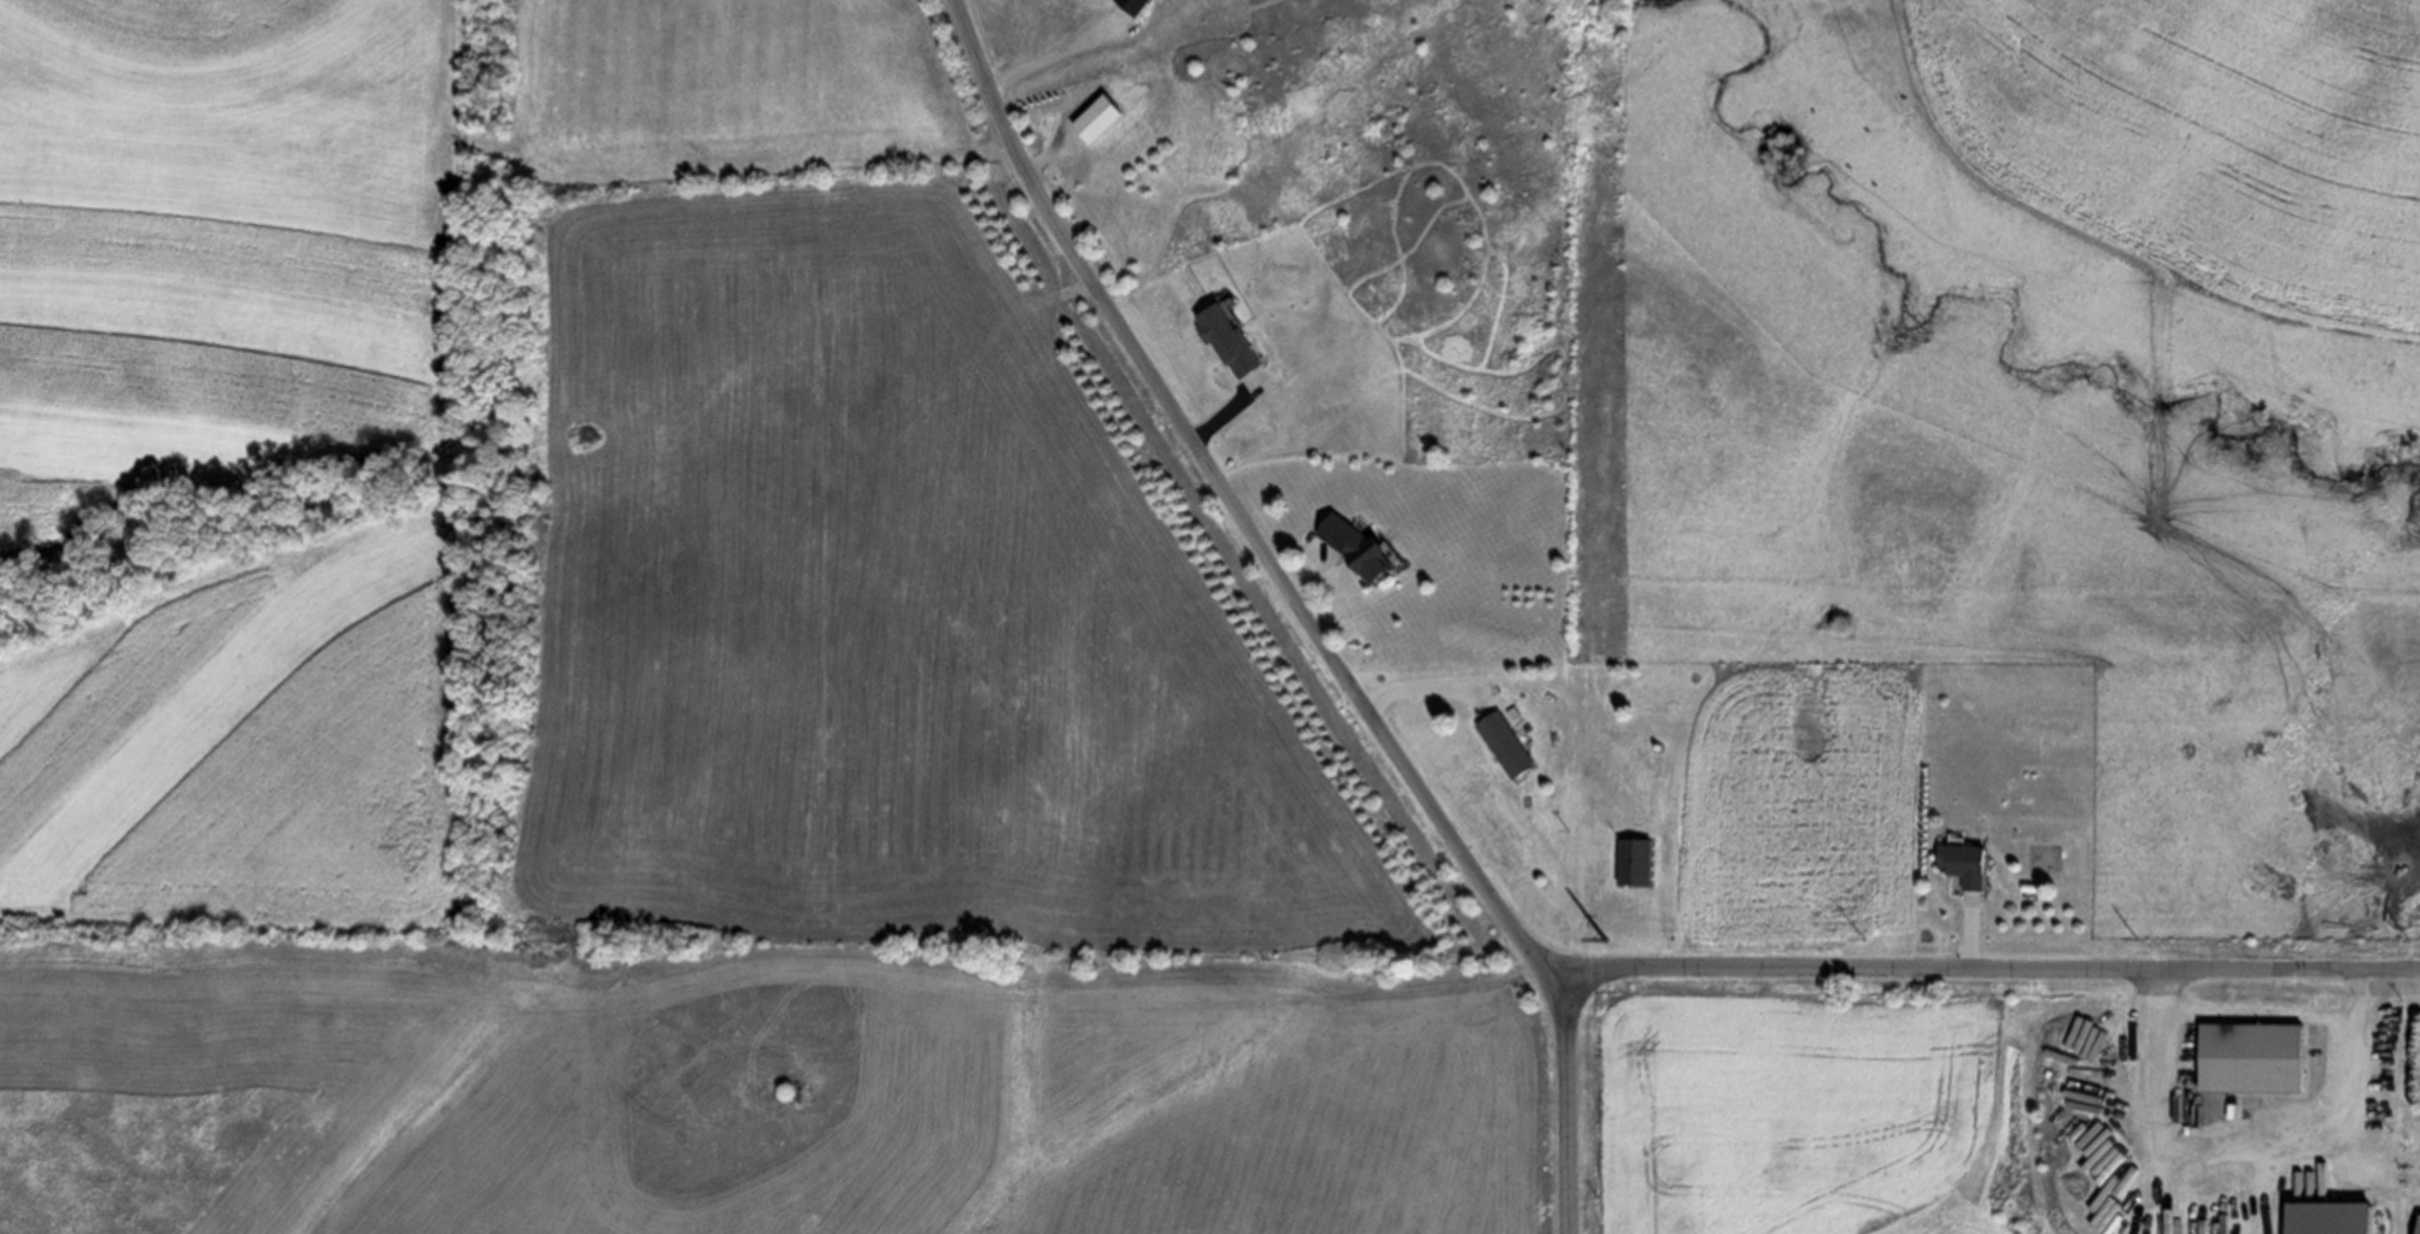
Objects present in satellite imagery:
building: (1132, 6)
road: (1055, 52)
building: (1094, 118)
road: (1051, 161)
building: (1226, 341)
road: (1226, 409)
road: (1240, 511)
building: (1353, 546)
road: (1341, 588)
road: (1428, 686)
building: (1505, 744)
building: (1635, 860)
building: (1964, 863)
road: (1971, 930)
road: (1869, 965)
building: (2251, 1056)
road: (2257, 1142)
road: (2408, 1201)
building: (2328, 1220)
building: (2419, 1226)

